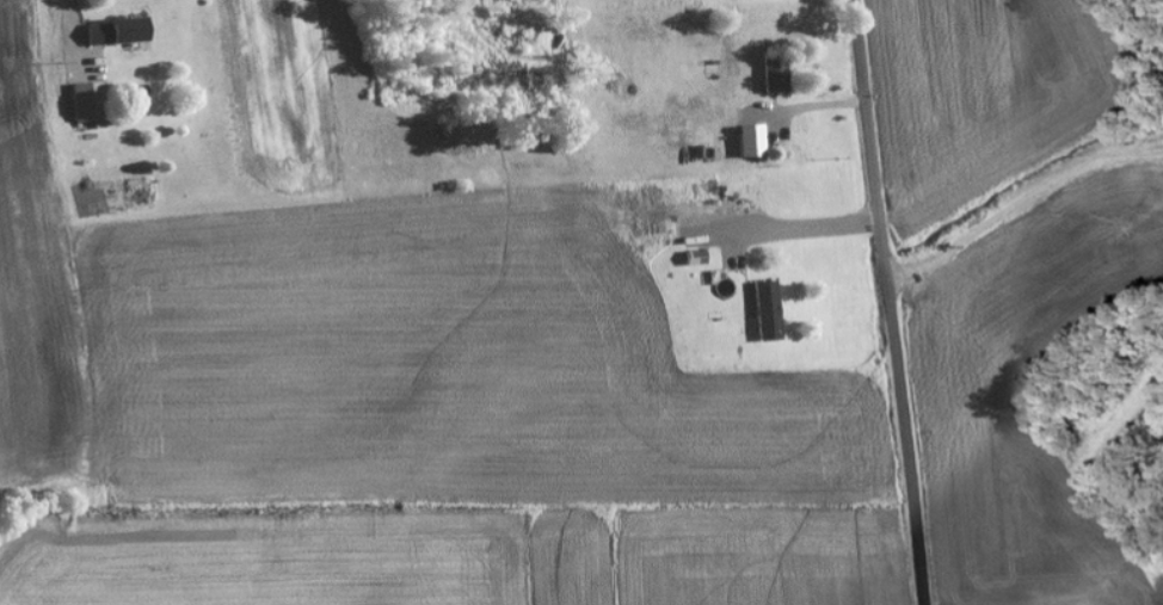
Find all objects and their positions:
building: (117, 31)
building: (775, 75)
building: (90, 101)
building: (752, 141)
road: (891, 302)
building: (768, 311)

